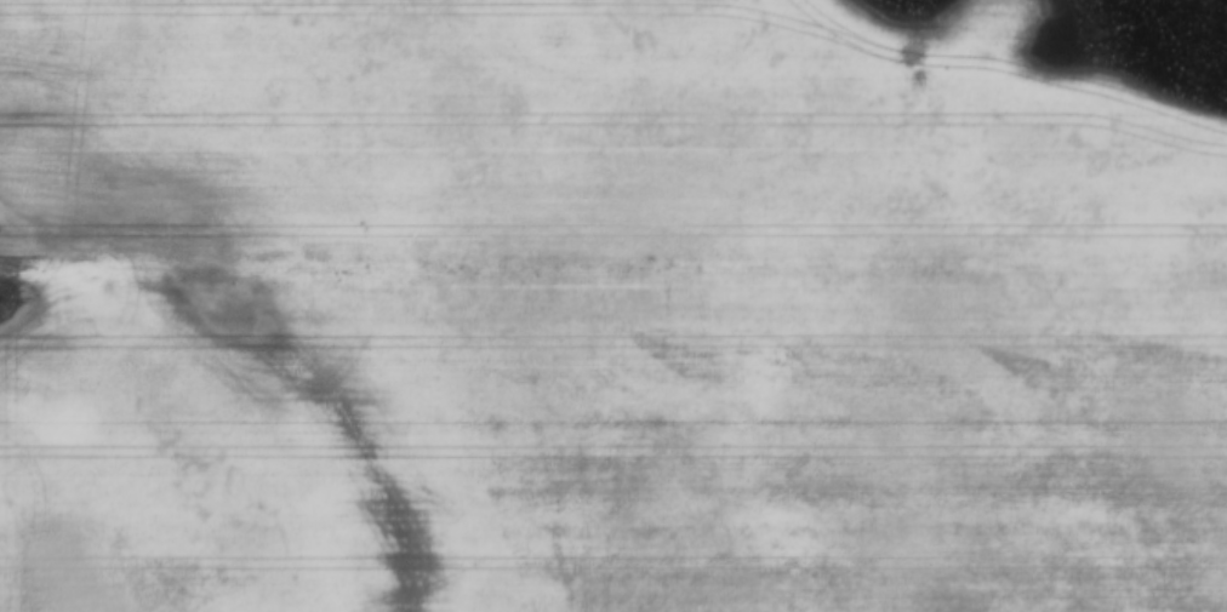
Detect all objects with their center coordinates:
crop: (612, 124)

